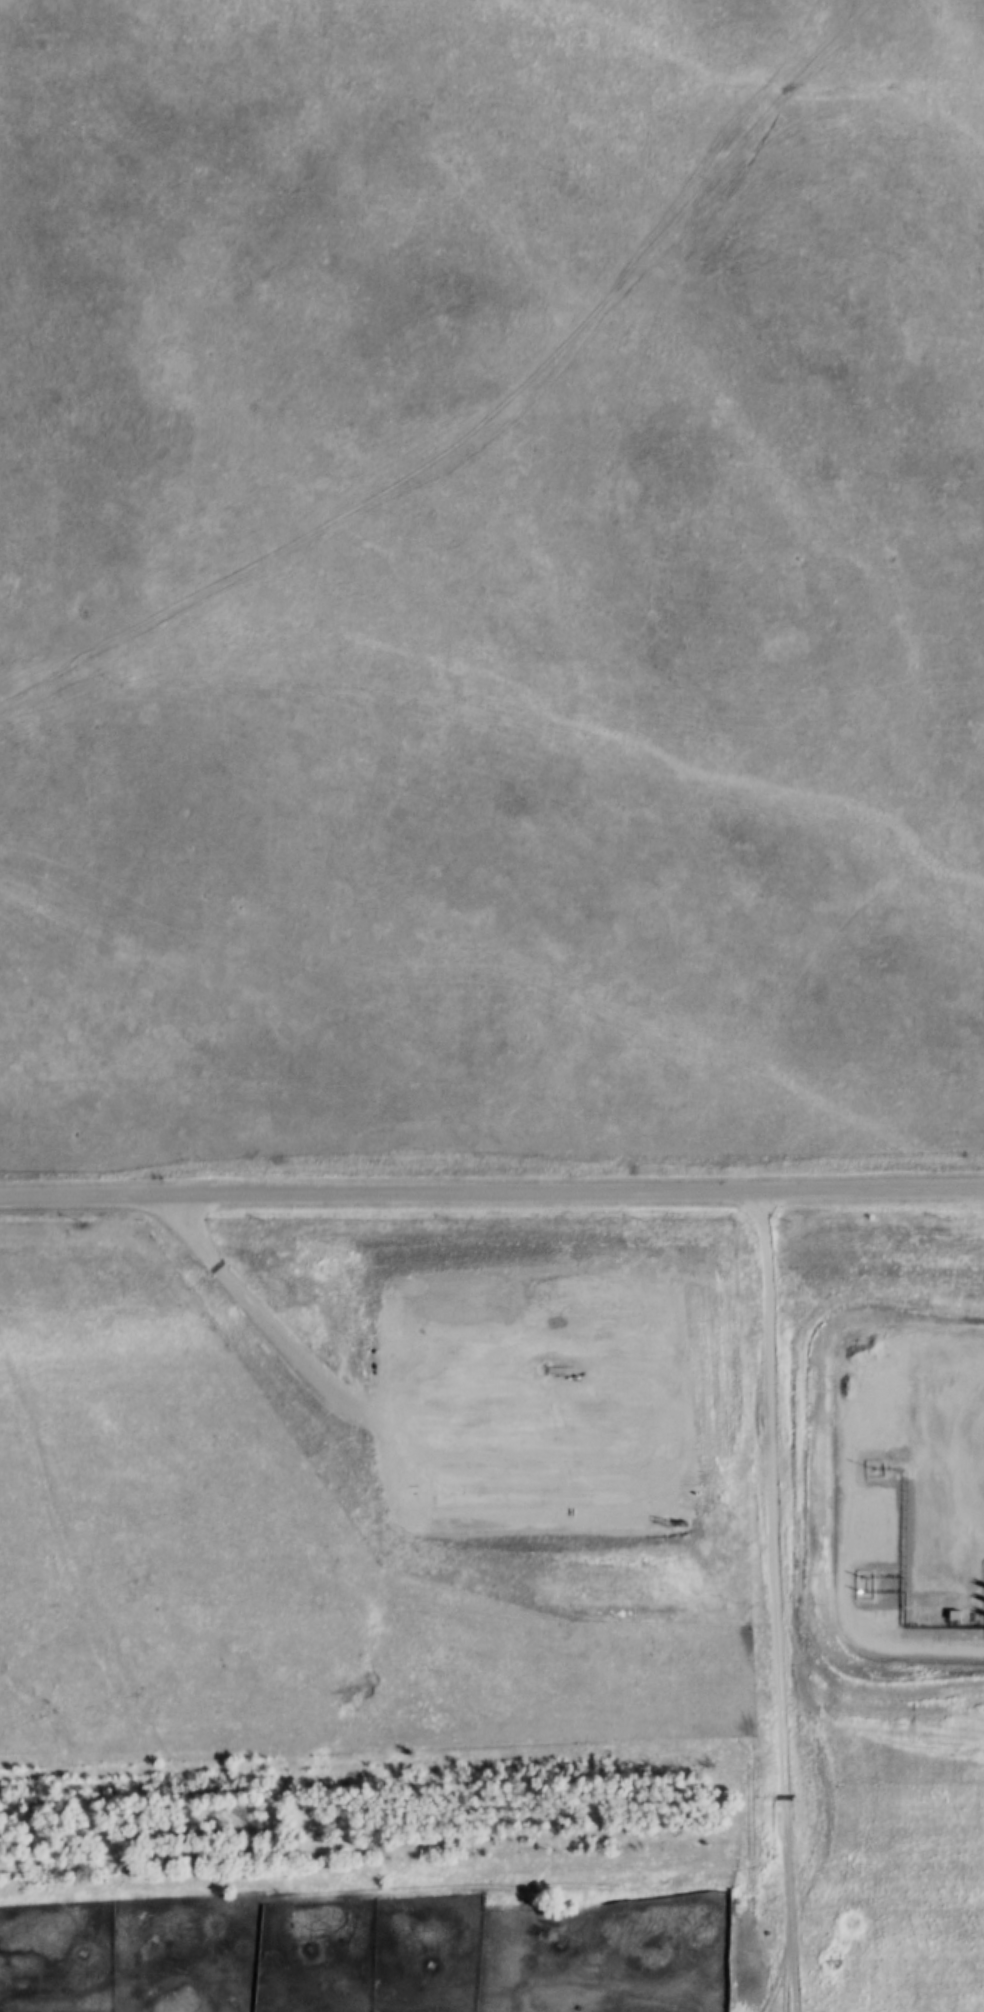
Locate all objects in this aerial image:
road: (75, 1191)
road: (763, 1393)

